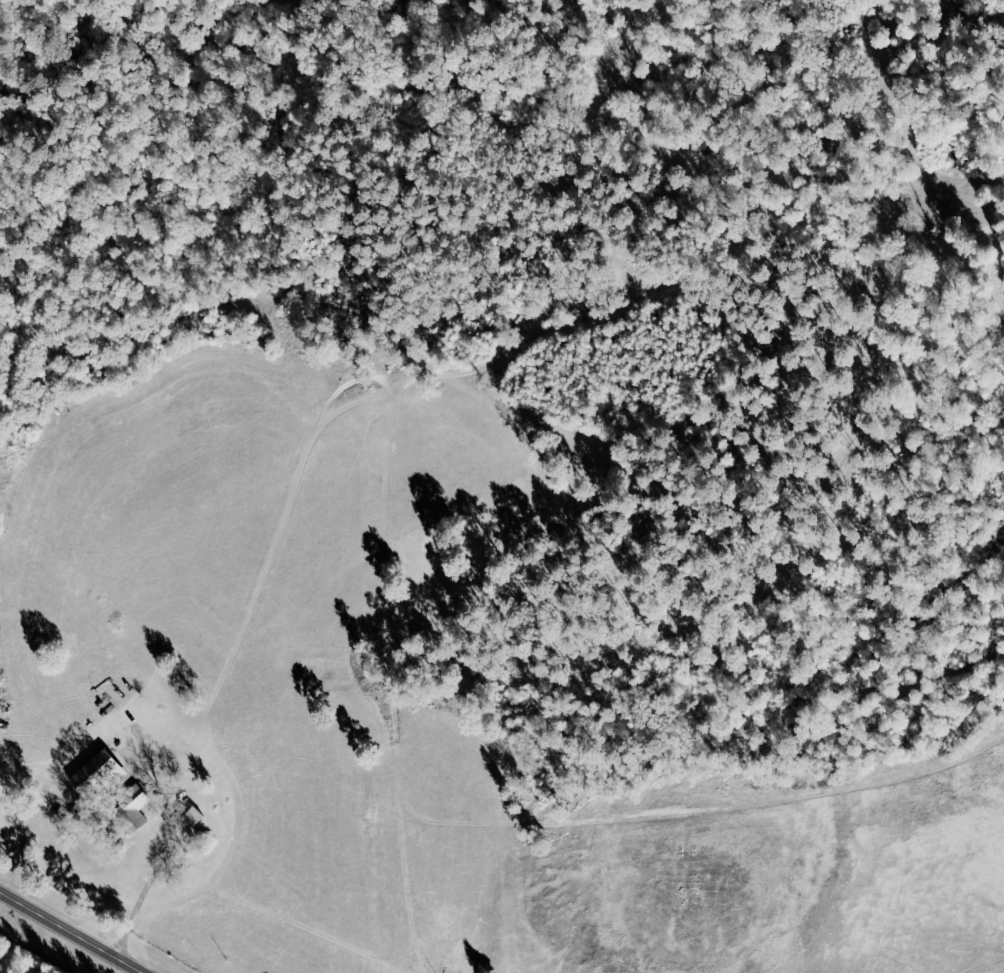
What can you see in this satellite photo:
building: (103, 774)
road: (139, 902)
road: (67, 934)

